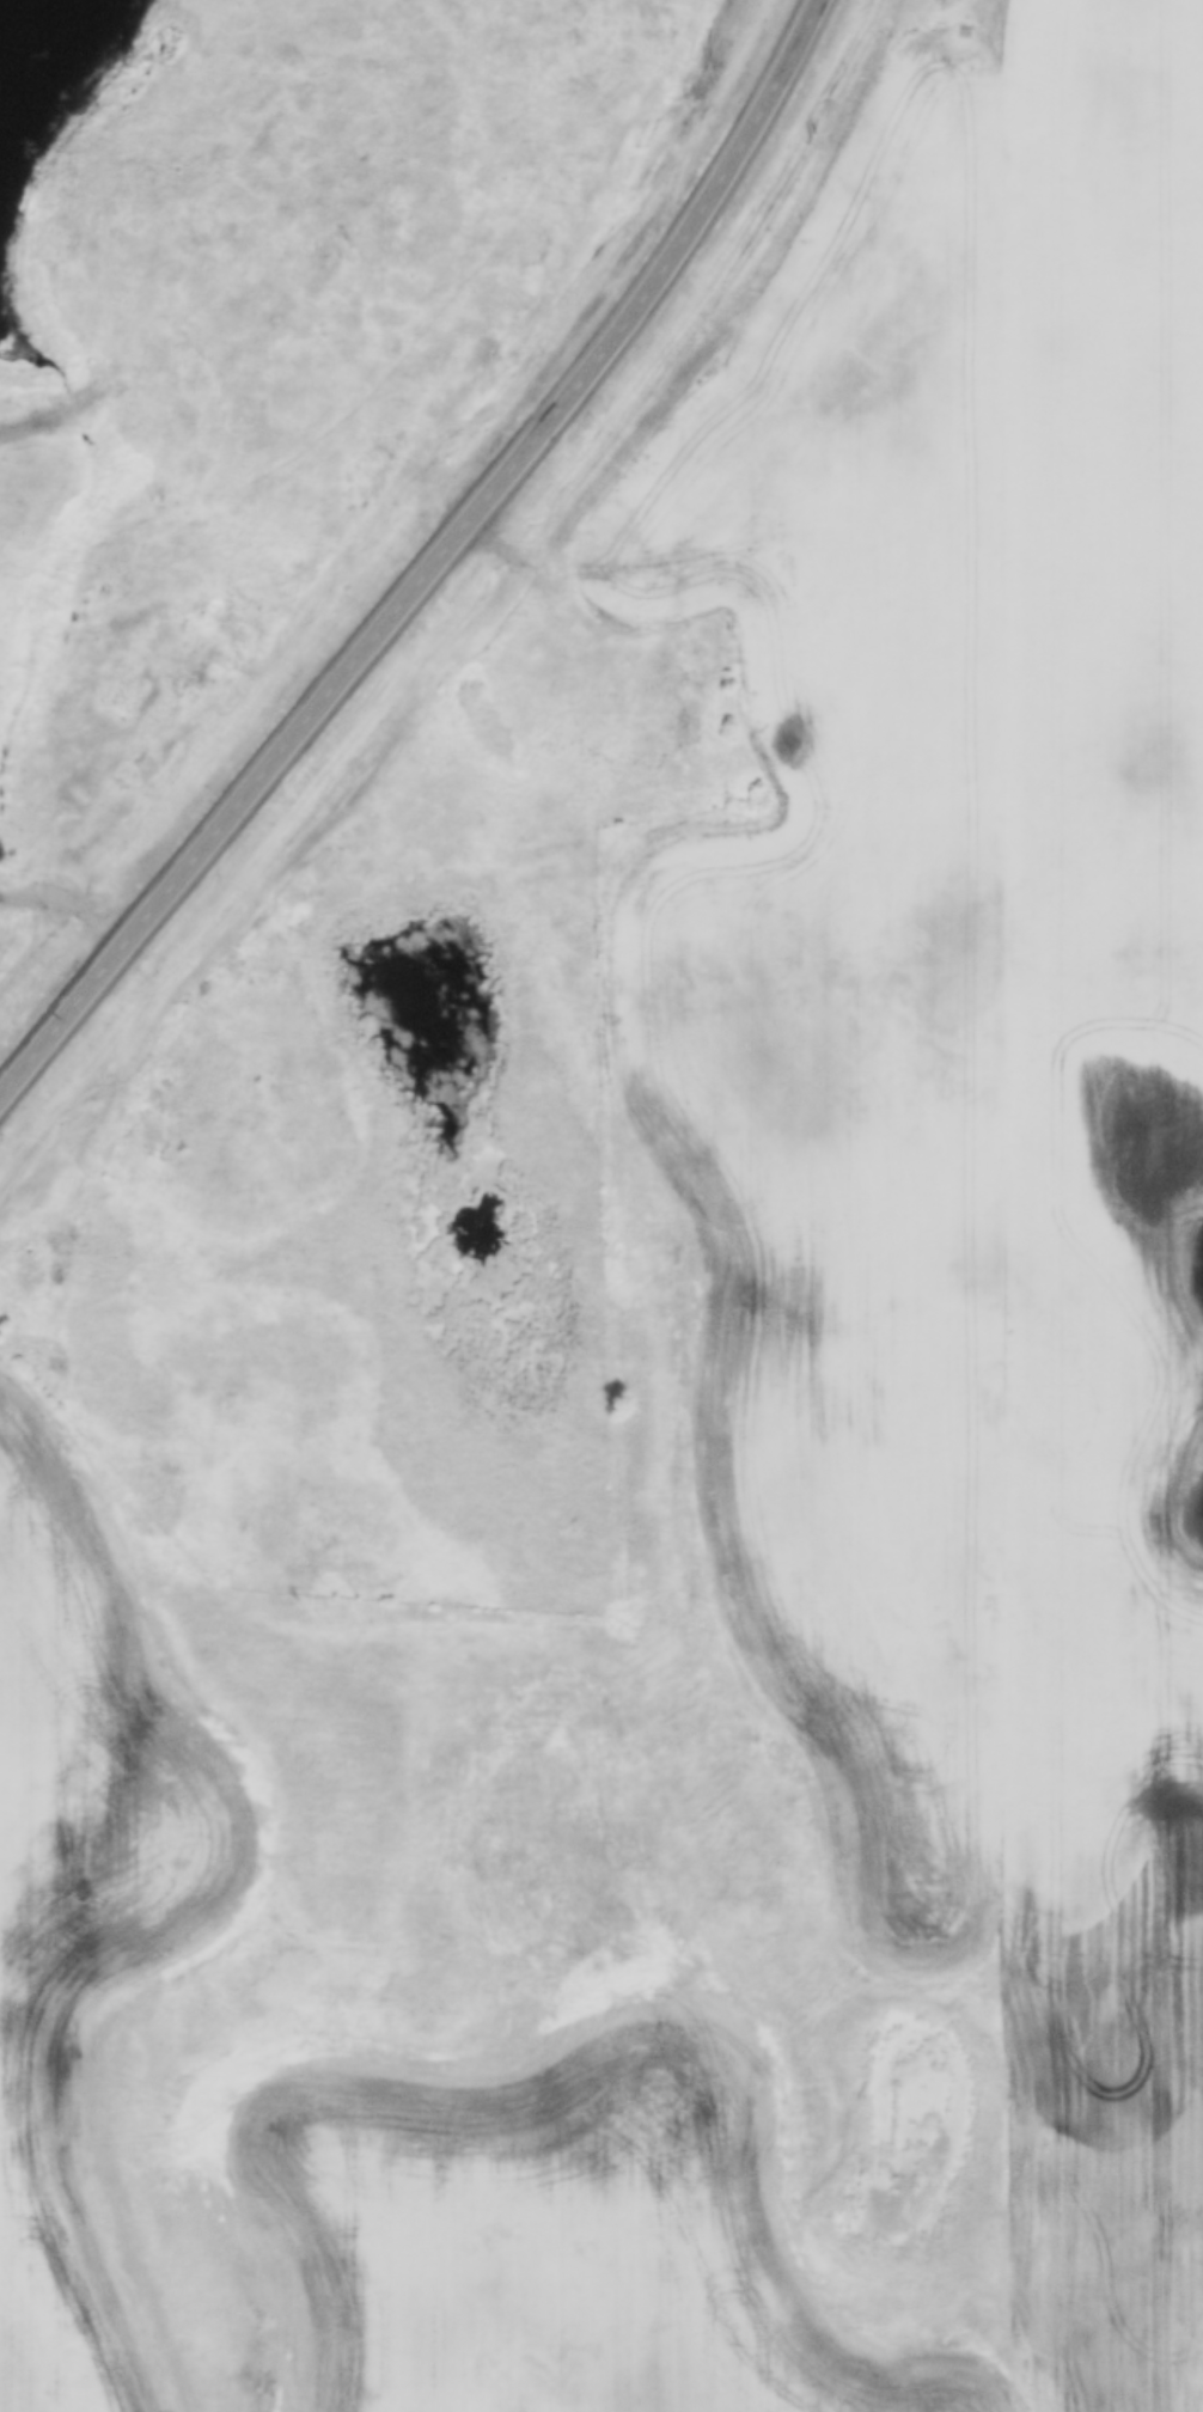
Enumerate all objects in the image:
road: (434, 563)
road: (65, 906)

